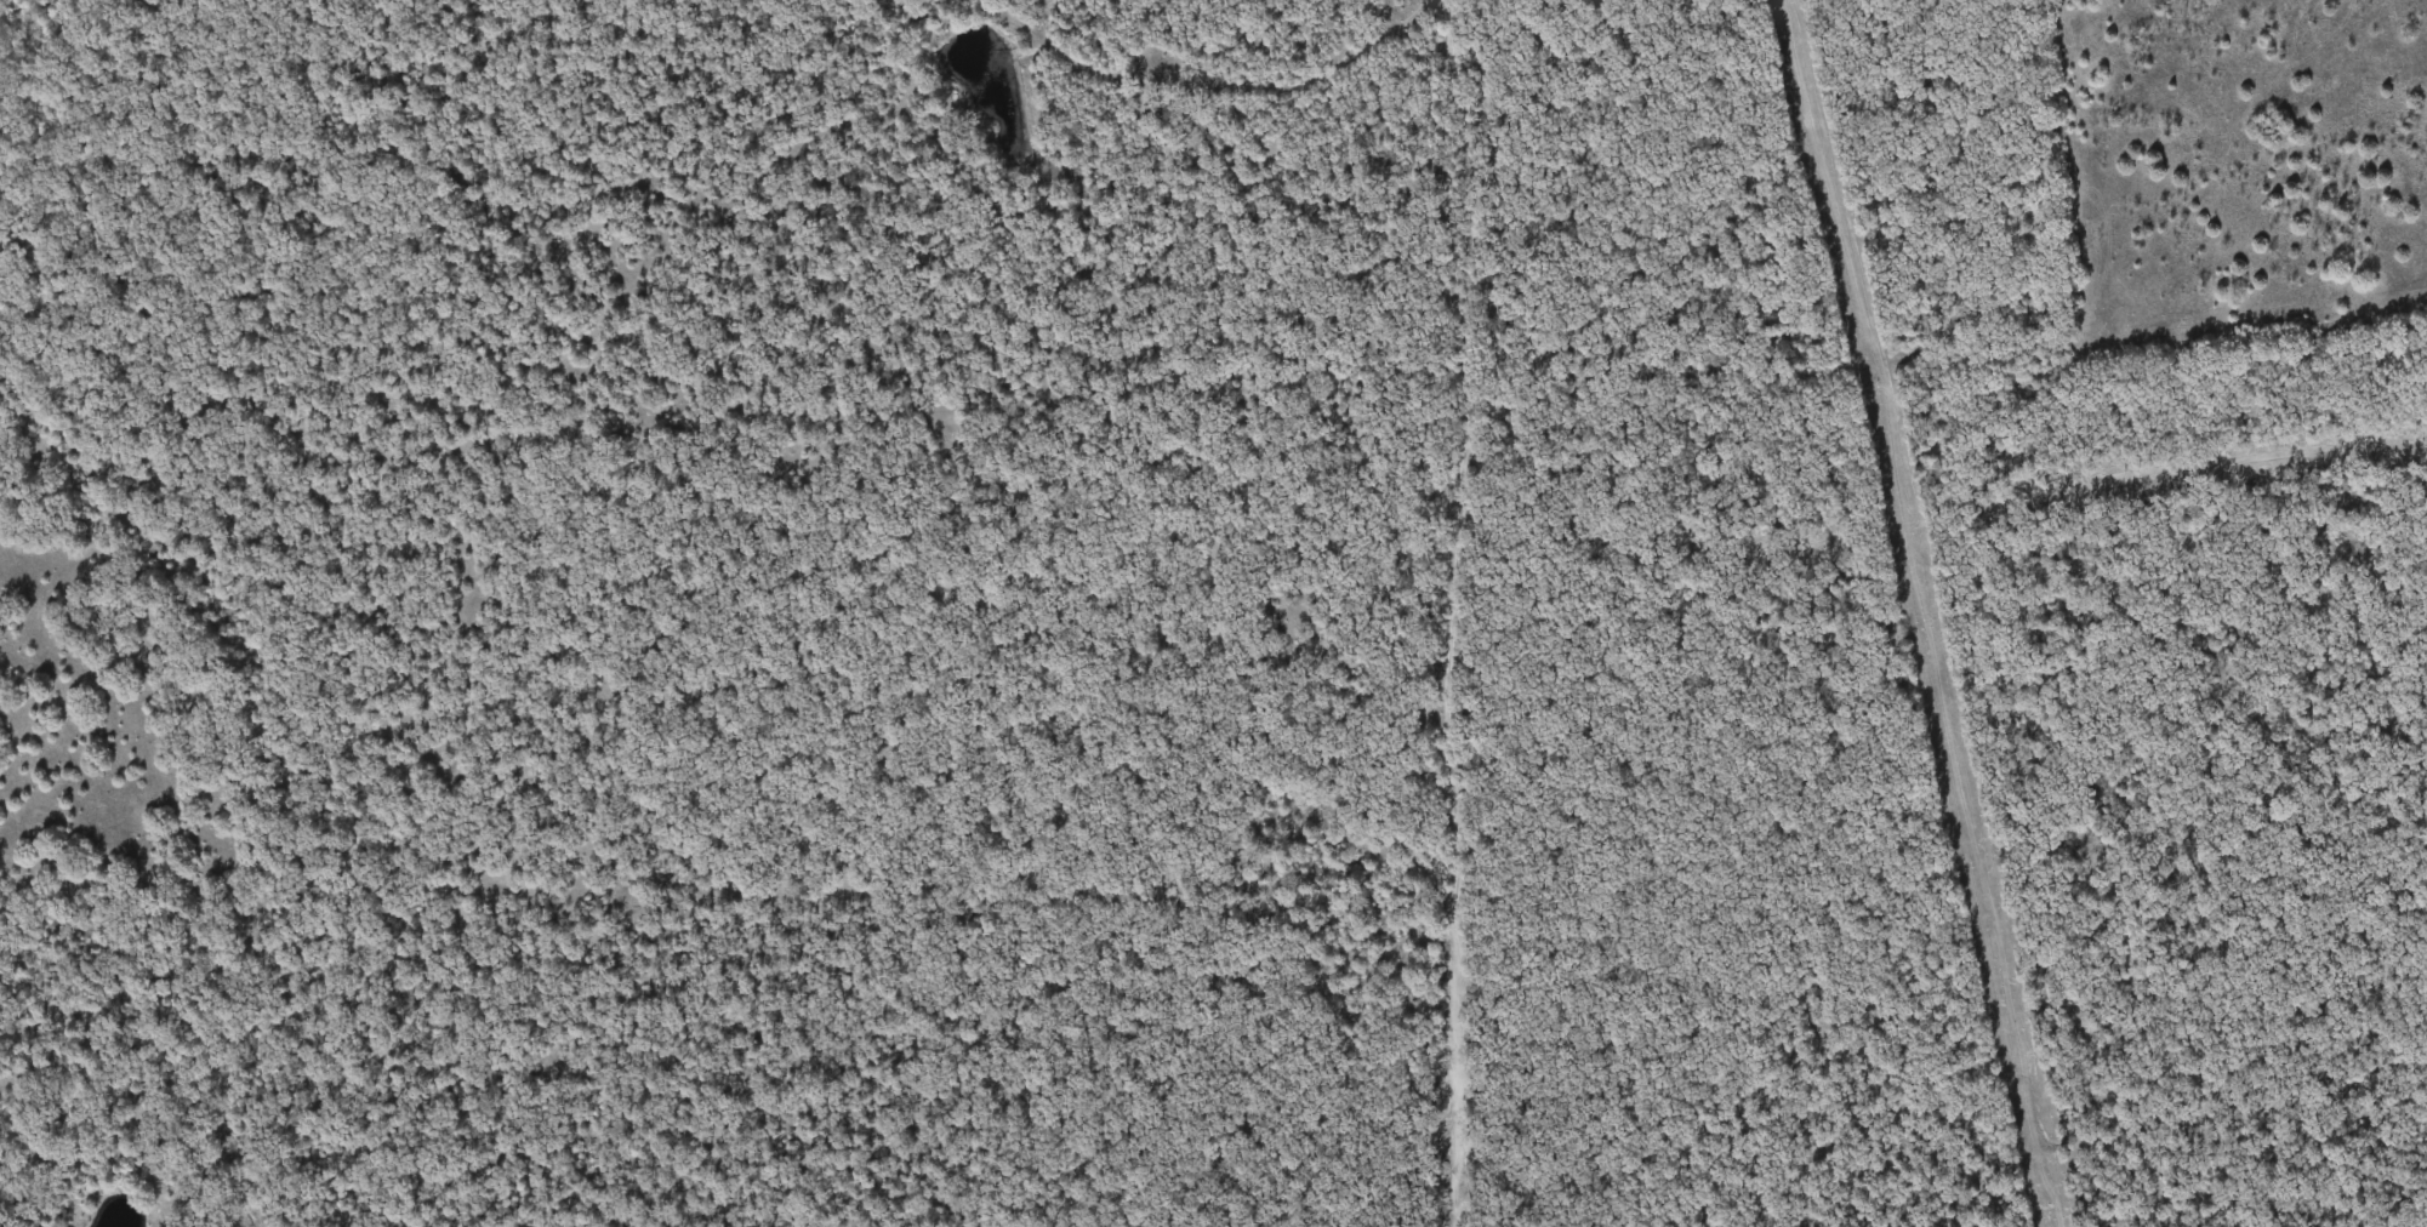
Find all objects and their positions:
building: (1160, 112)

